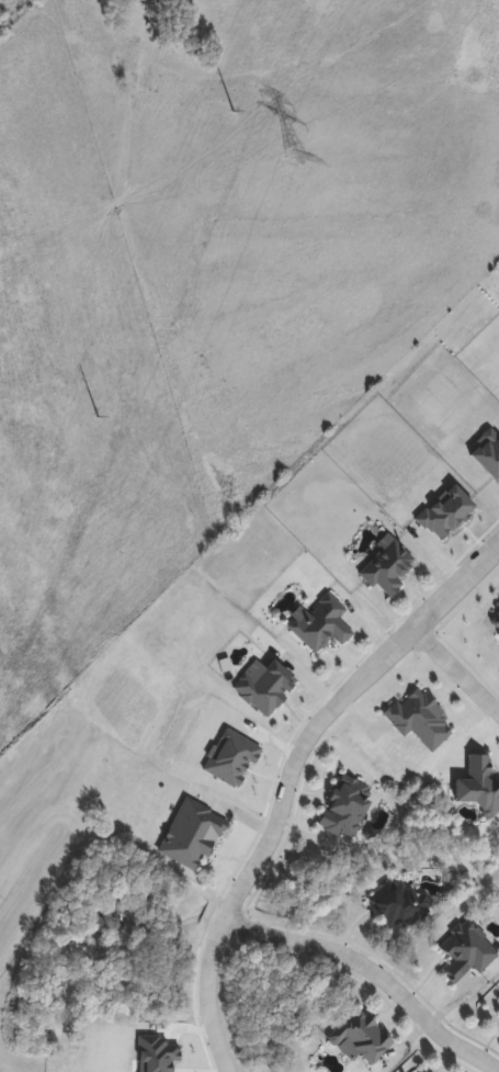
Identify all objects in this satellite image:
power tower: (233, 120)
power tower: (294, 158)
power tower: (102, 415)
building: (385, 569)
building: (320, 624)
building: (495, 628)
road: (295, 668)
road: (456, 670)
road: (288, 777)
building: (343, 808)
building: (397, 905)
building: (466, 952)
road: (372, 971)
building: (497, 1008)
building: (358, 1039)
building: (420, 1071)

